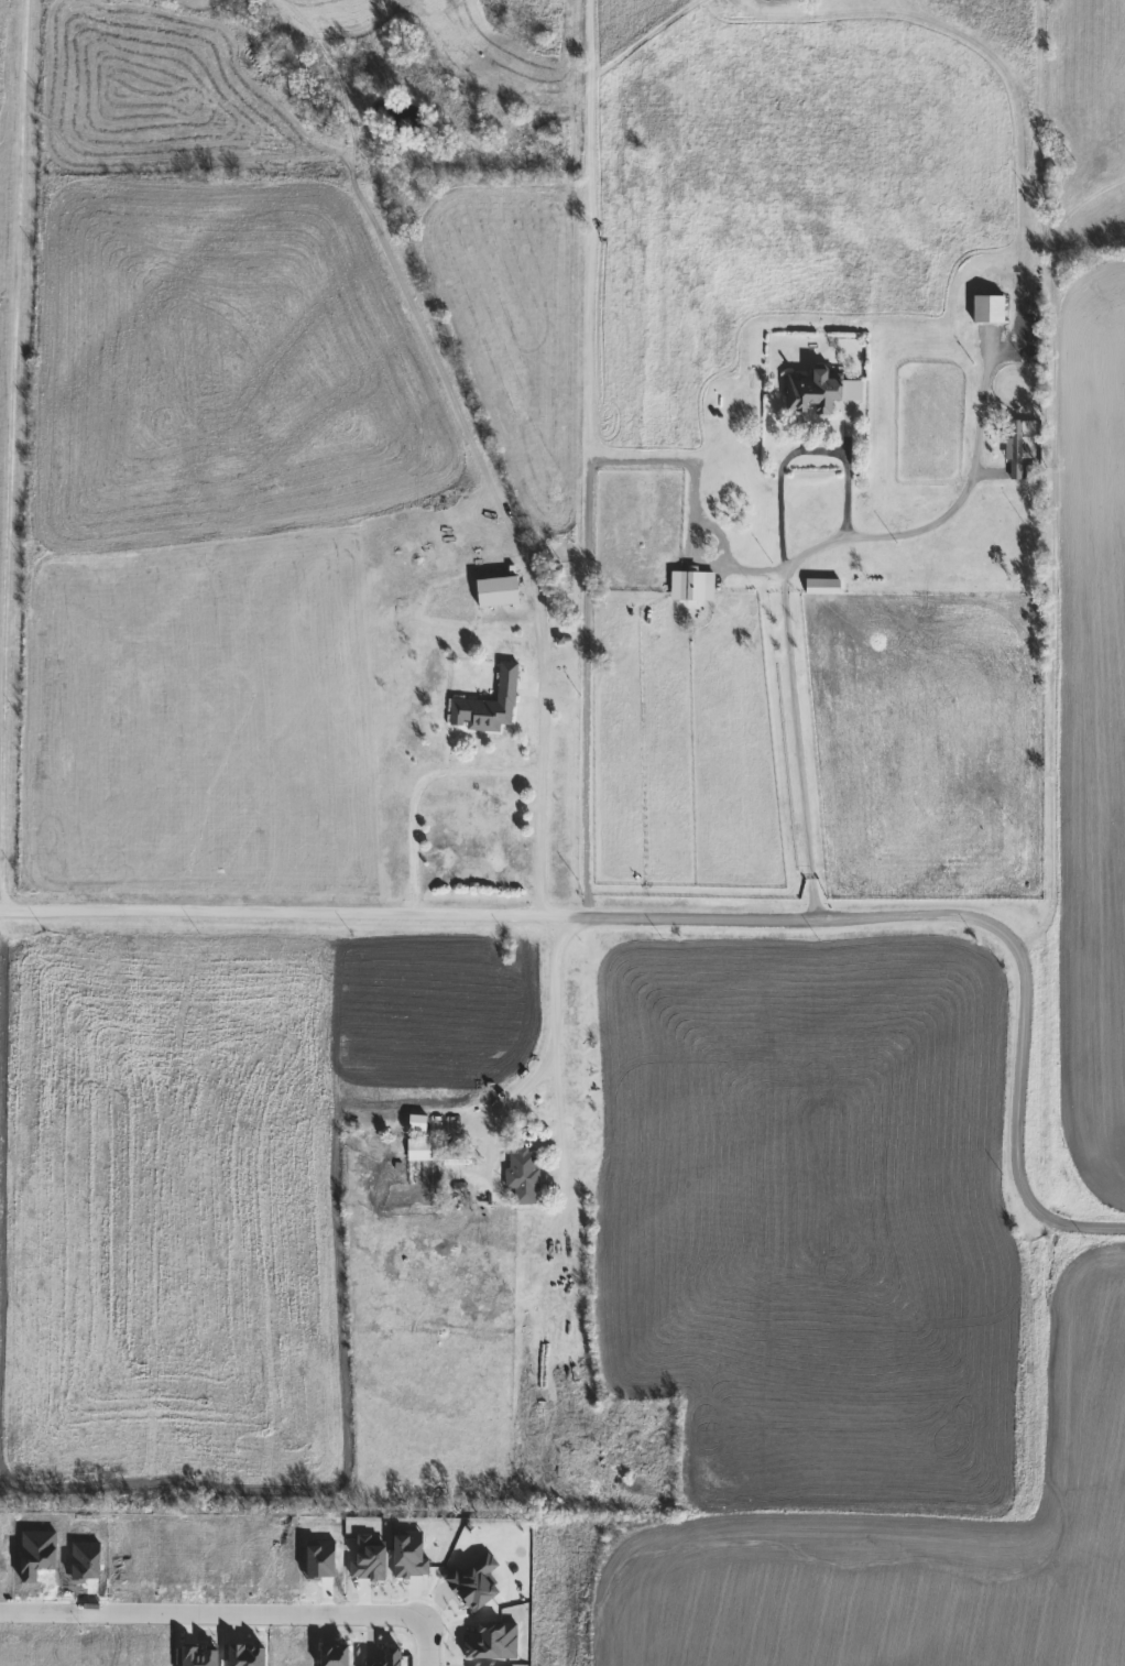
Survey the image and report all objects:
road: (8, 276)
building: (991, 308)
building: (819, 391)
building: (1014, 447)
road: (797, 453)
road: (591, 560)
road: (1052, 567)
road: (779, 570)
building: (824, 587)
building: (499, 592)
road: (546, 694)
building: (491, 705)
road: (485, 770)
road: (690, 918)
road: (555, 1033)
building: (433, 1152)
building: (523, 1176)
road: (1108, 1211)
crop: (886, 1553)
road: (210, 1613)
road: (425, 1646)

